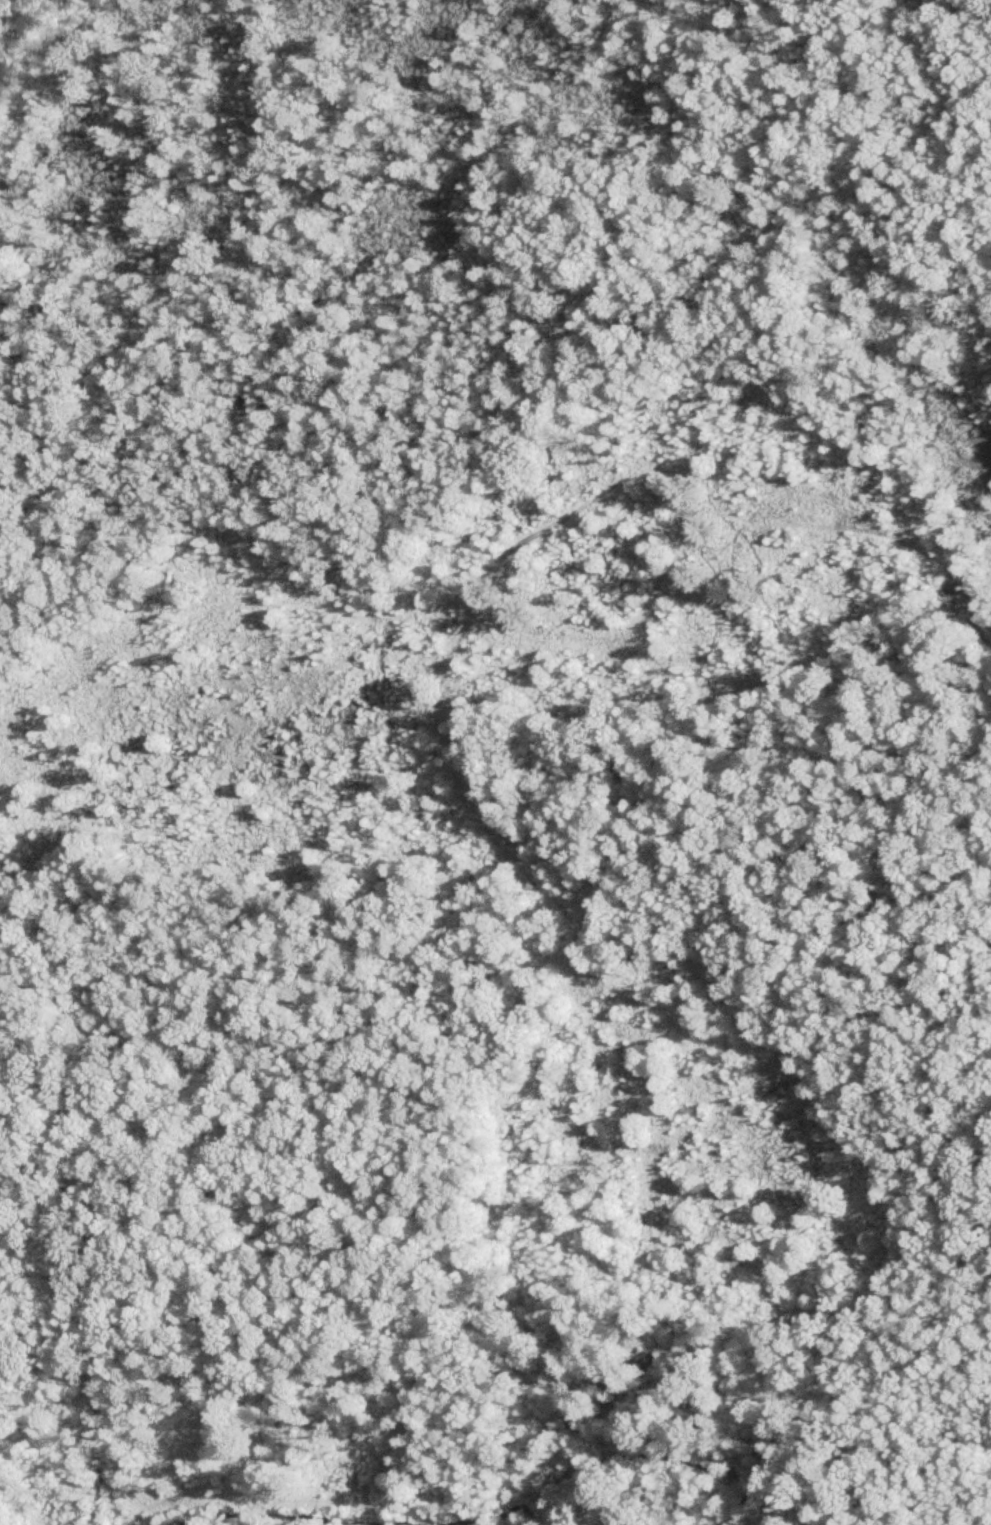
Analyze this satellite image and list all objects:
road: (505, 550)

